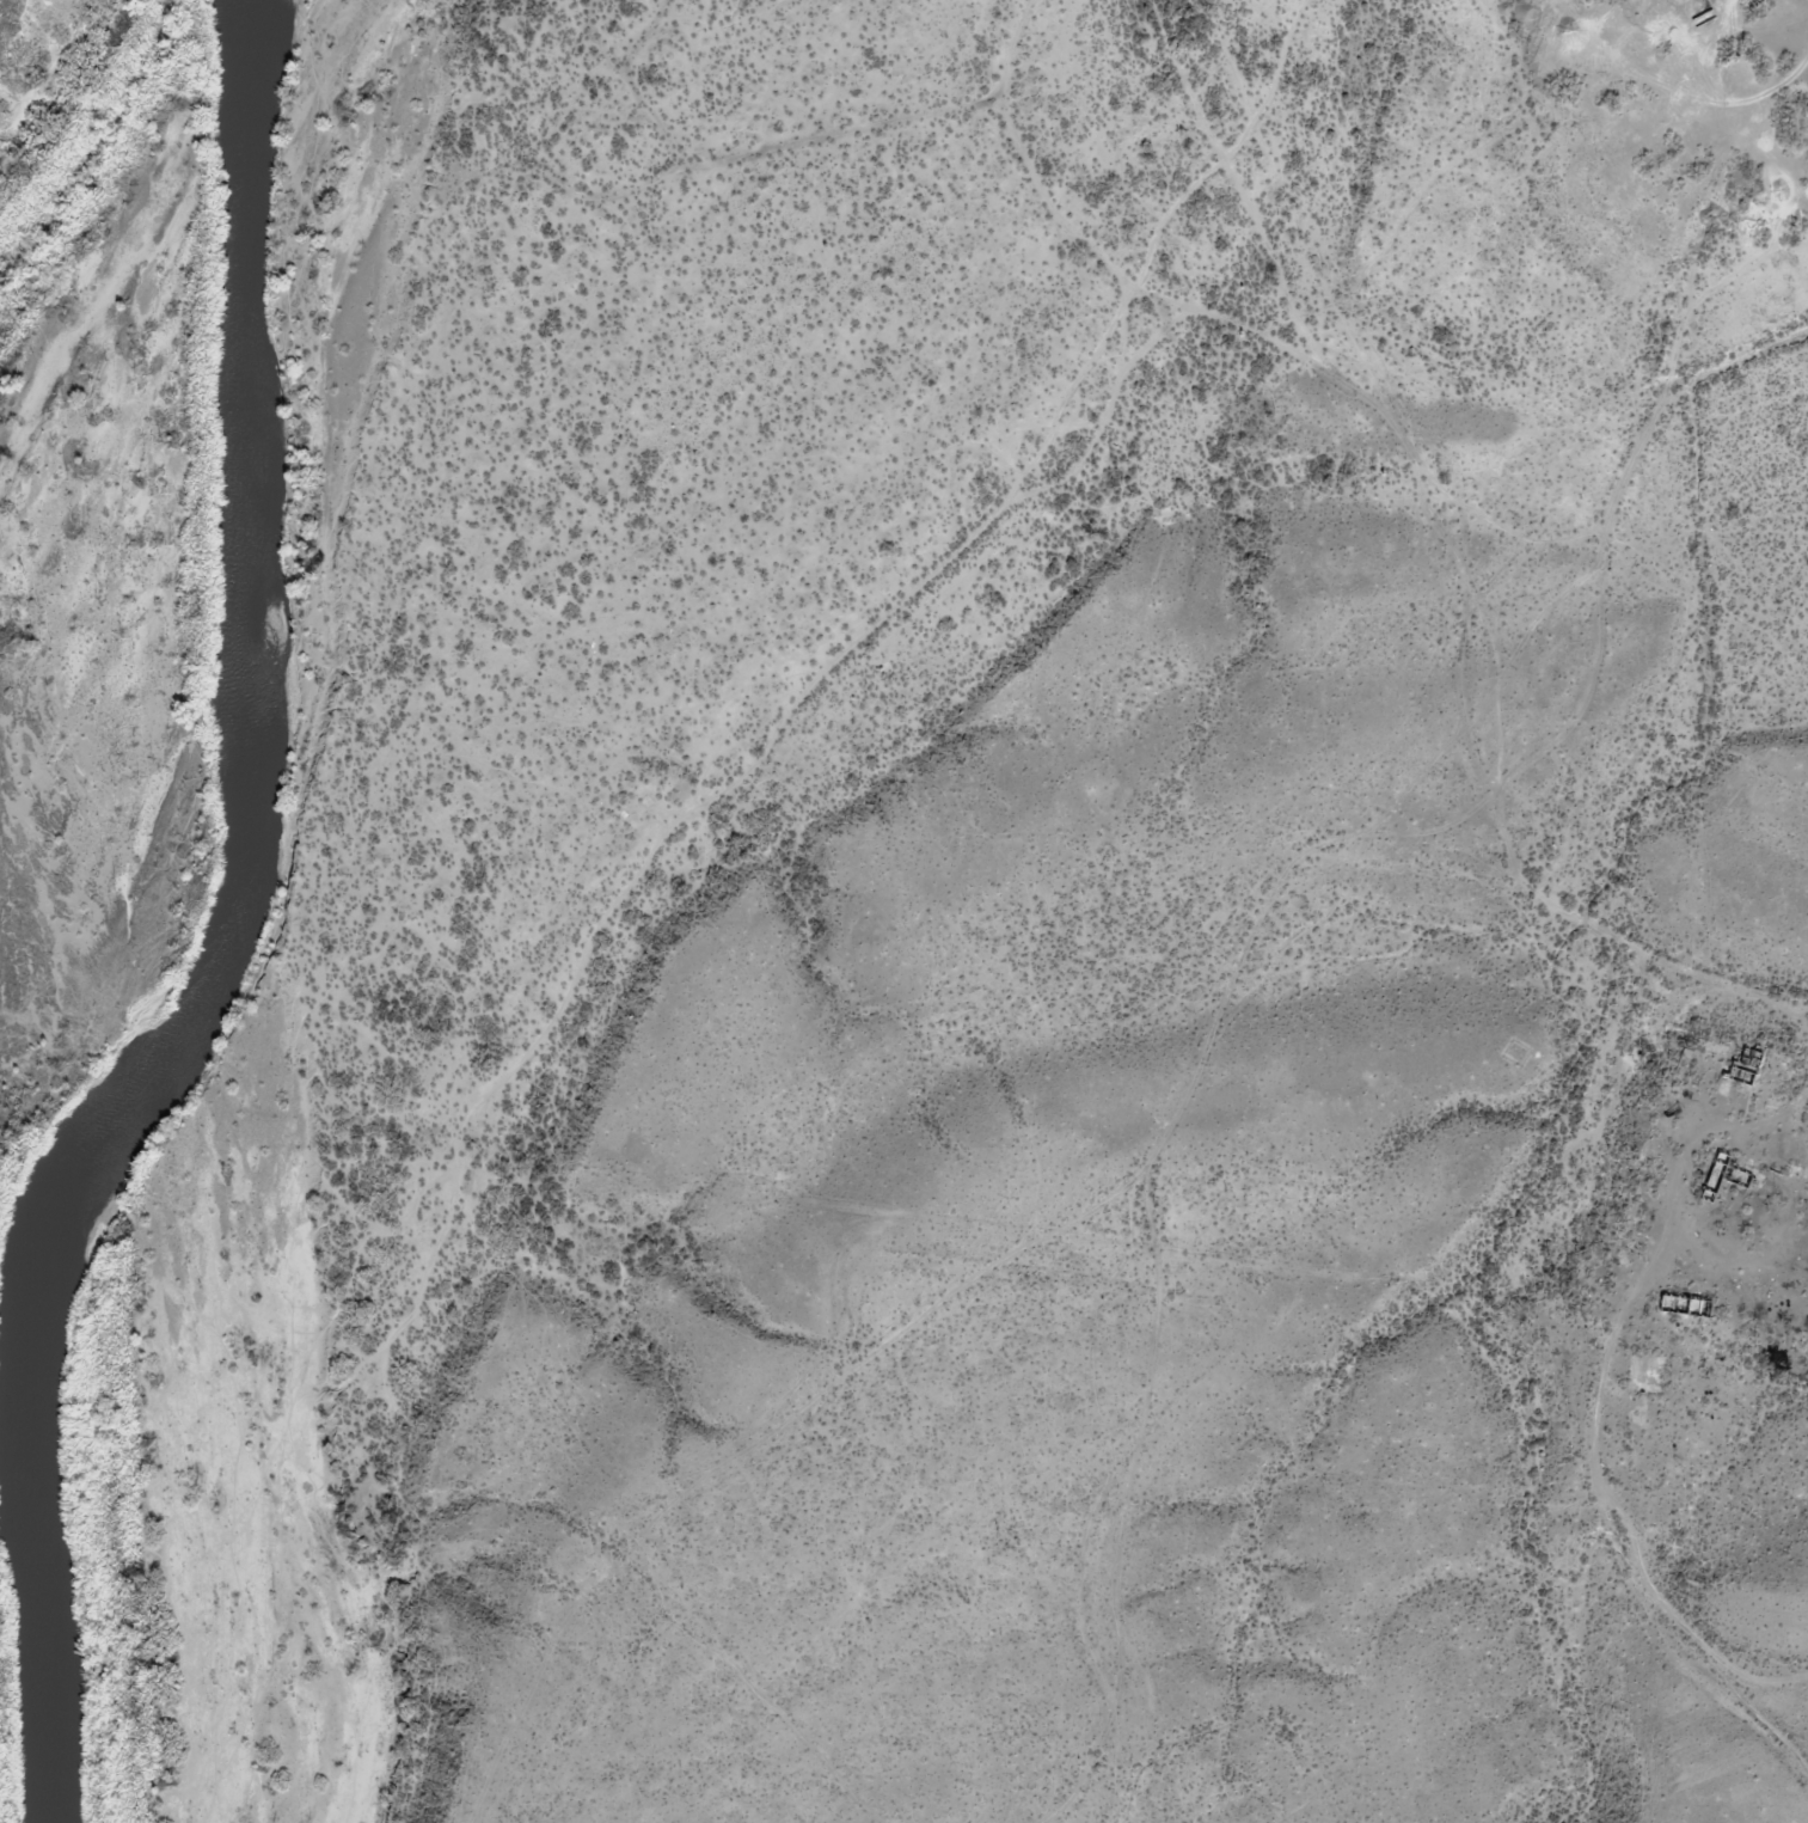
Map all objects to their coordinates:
river: (208, 935)
road: (1792, 1122)

